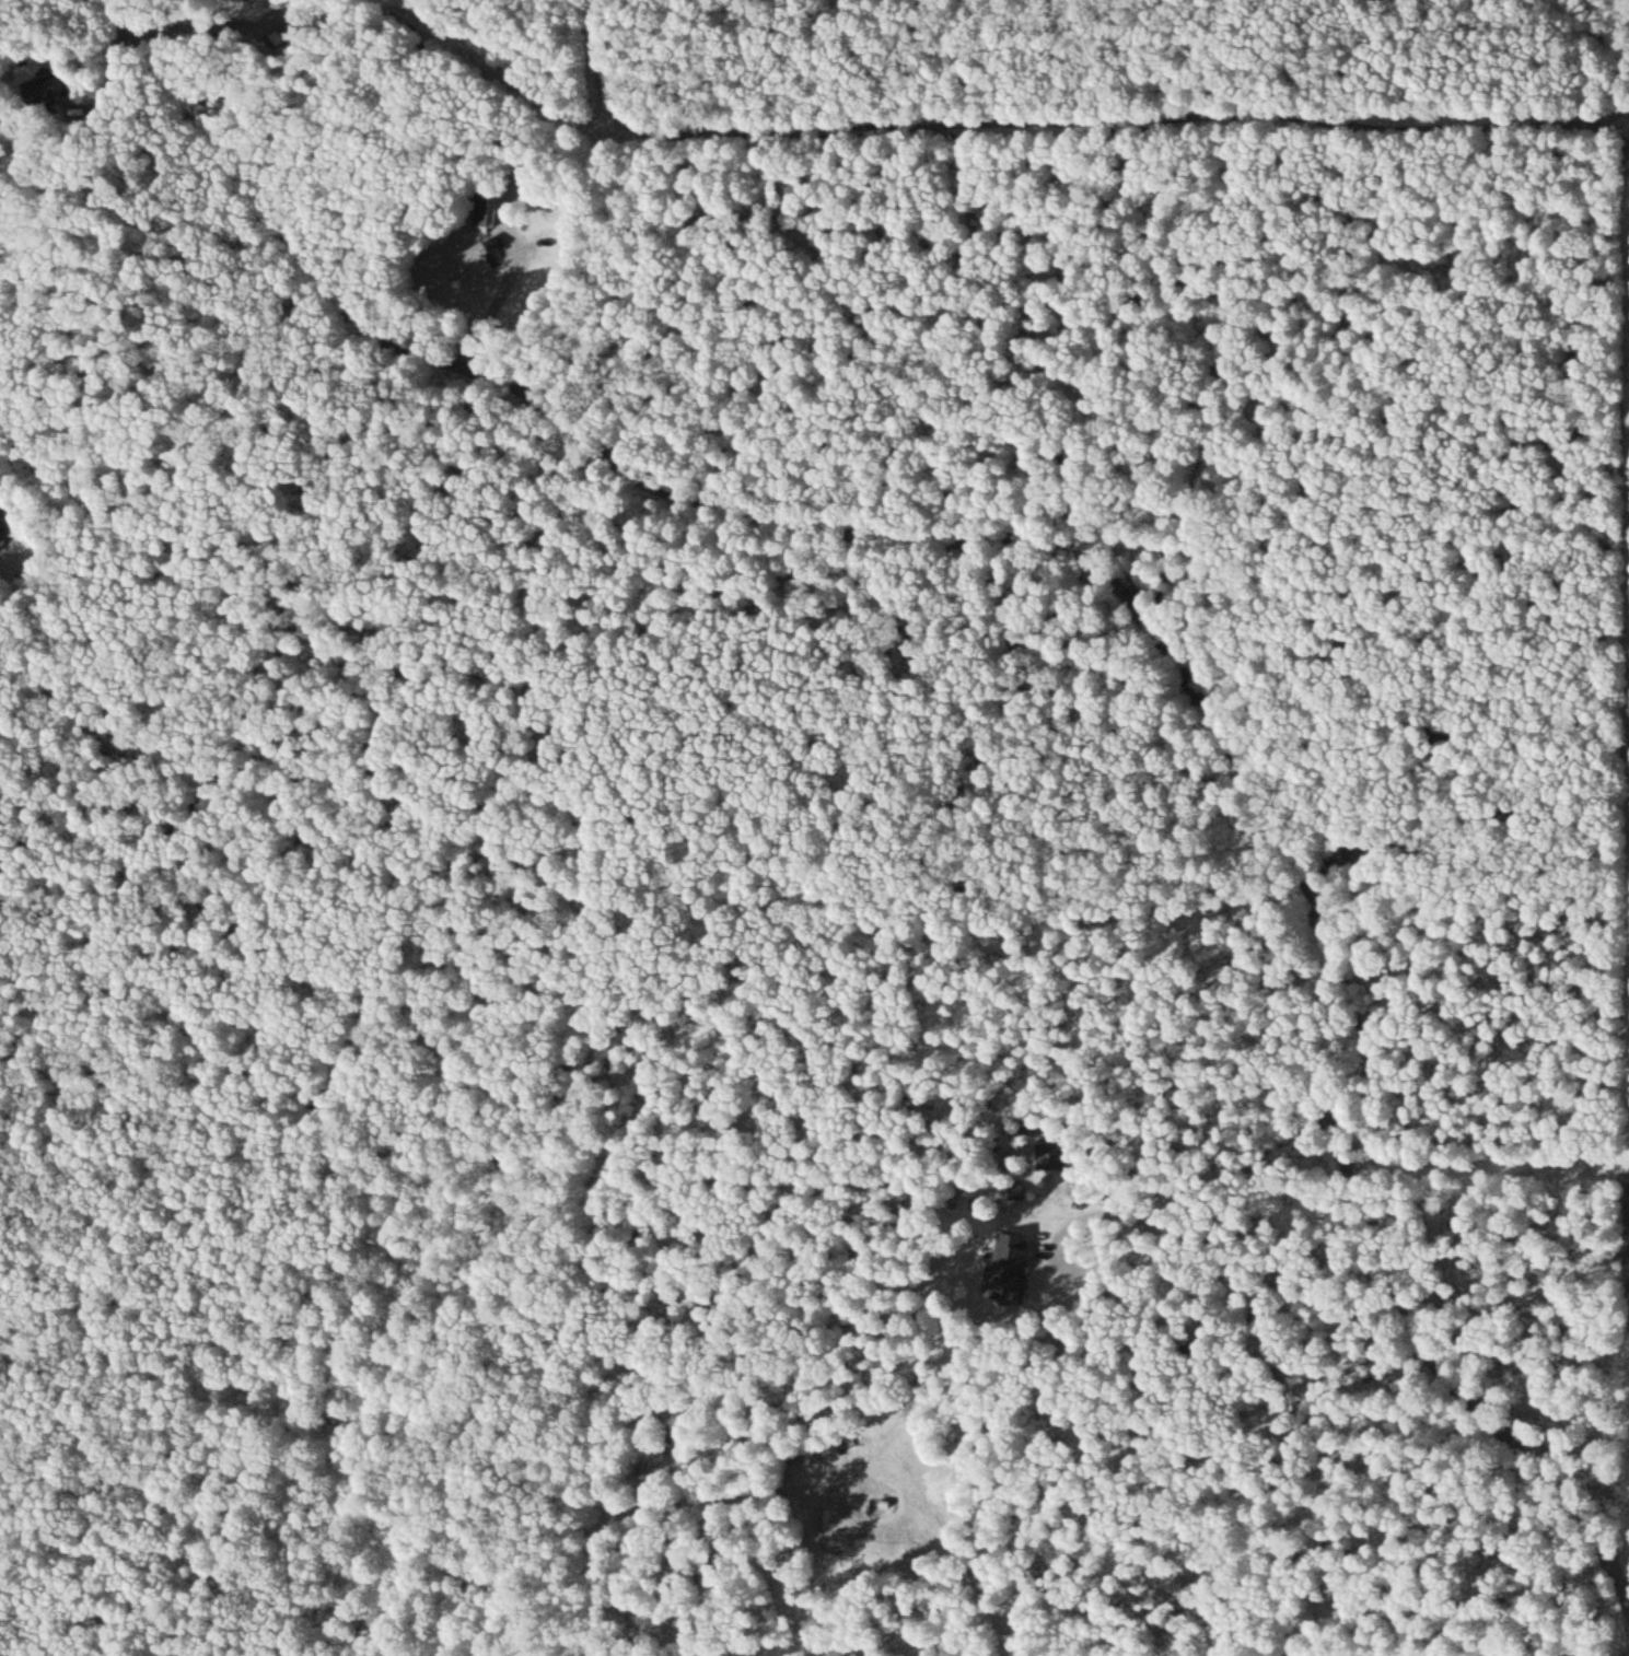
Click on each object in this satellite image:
building: (257, 0)
road: (622, 69)
building: (53, 89)
building: (485, 259)
road: (1471, 310)
building: (8, 527)
road: (1085, 562)
building: (1020, 1266)
petroleum well: (866, 1498)
road: (626, 1505)

